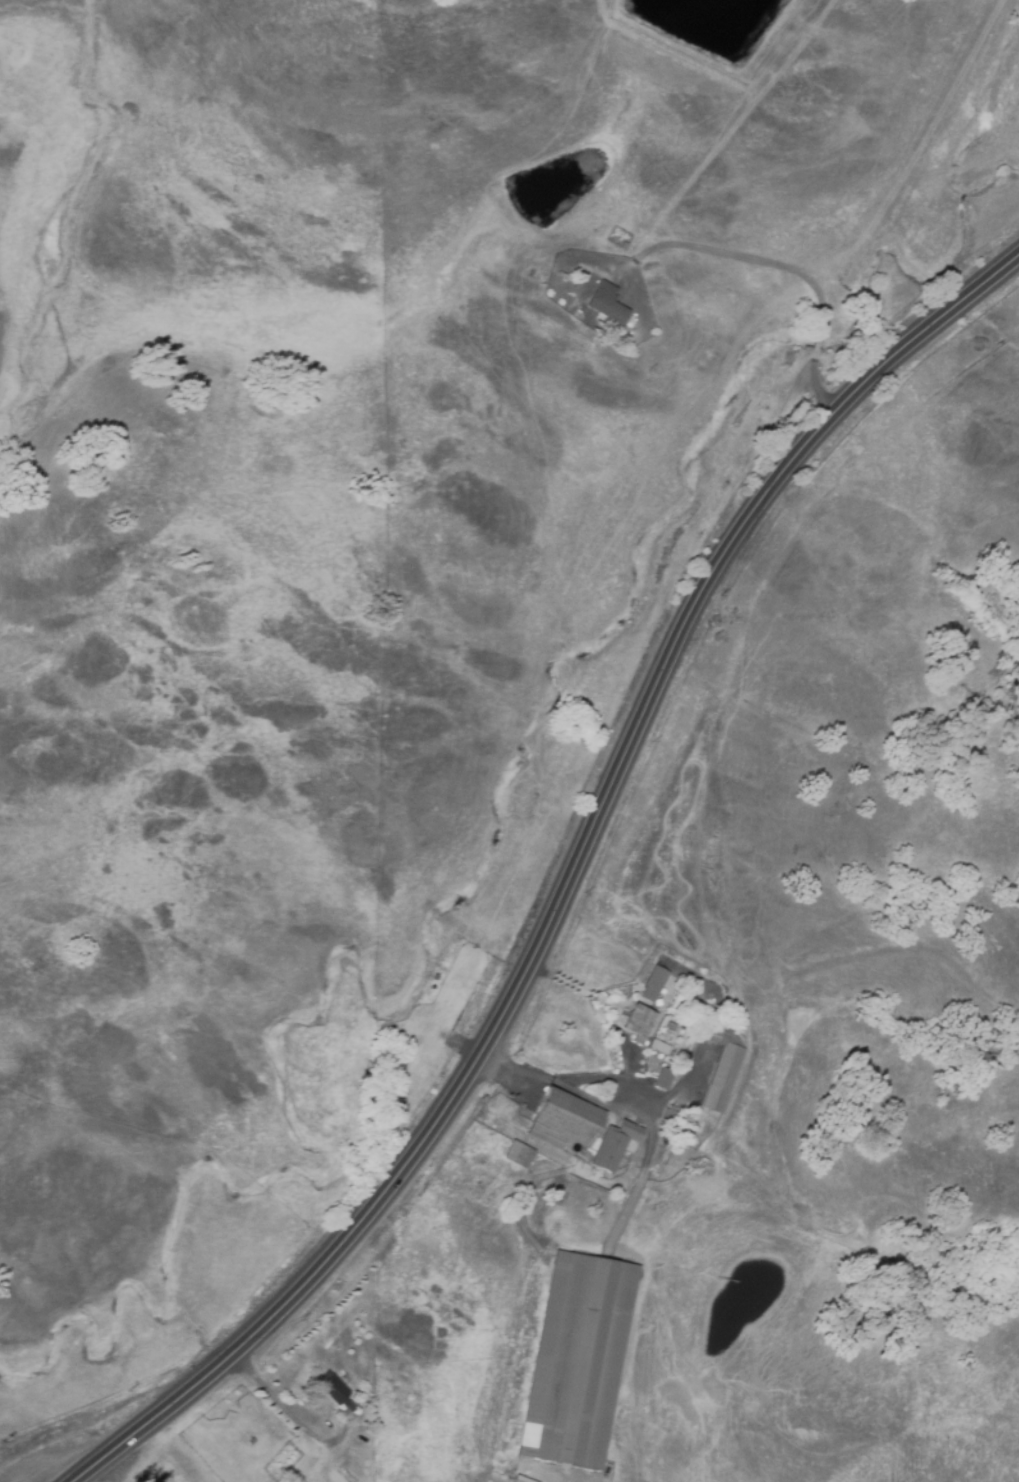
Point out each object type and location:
building: (624, 246)
road: (787, 271)
building: (606, 308)
road: (565, 876)
building: (655, 990)
building: (640, 1028)
building: (659, 1048)
building: (720, 1067)
building: (663, 1080)
road: (634, 1085)
building: (564, 1113)
building: (612, 1141)
building: (516, 1151)
road: (643, 1172)
building: (577, 1357)
building: (337, 1391)
road: (280, 1408)

